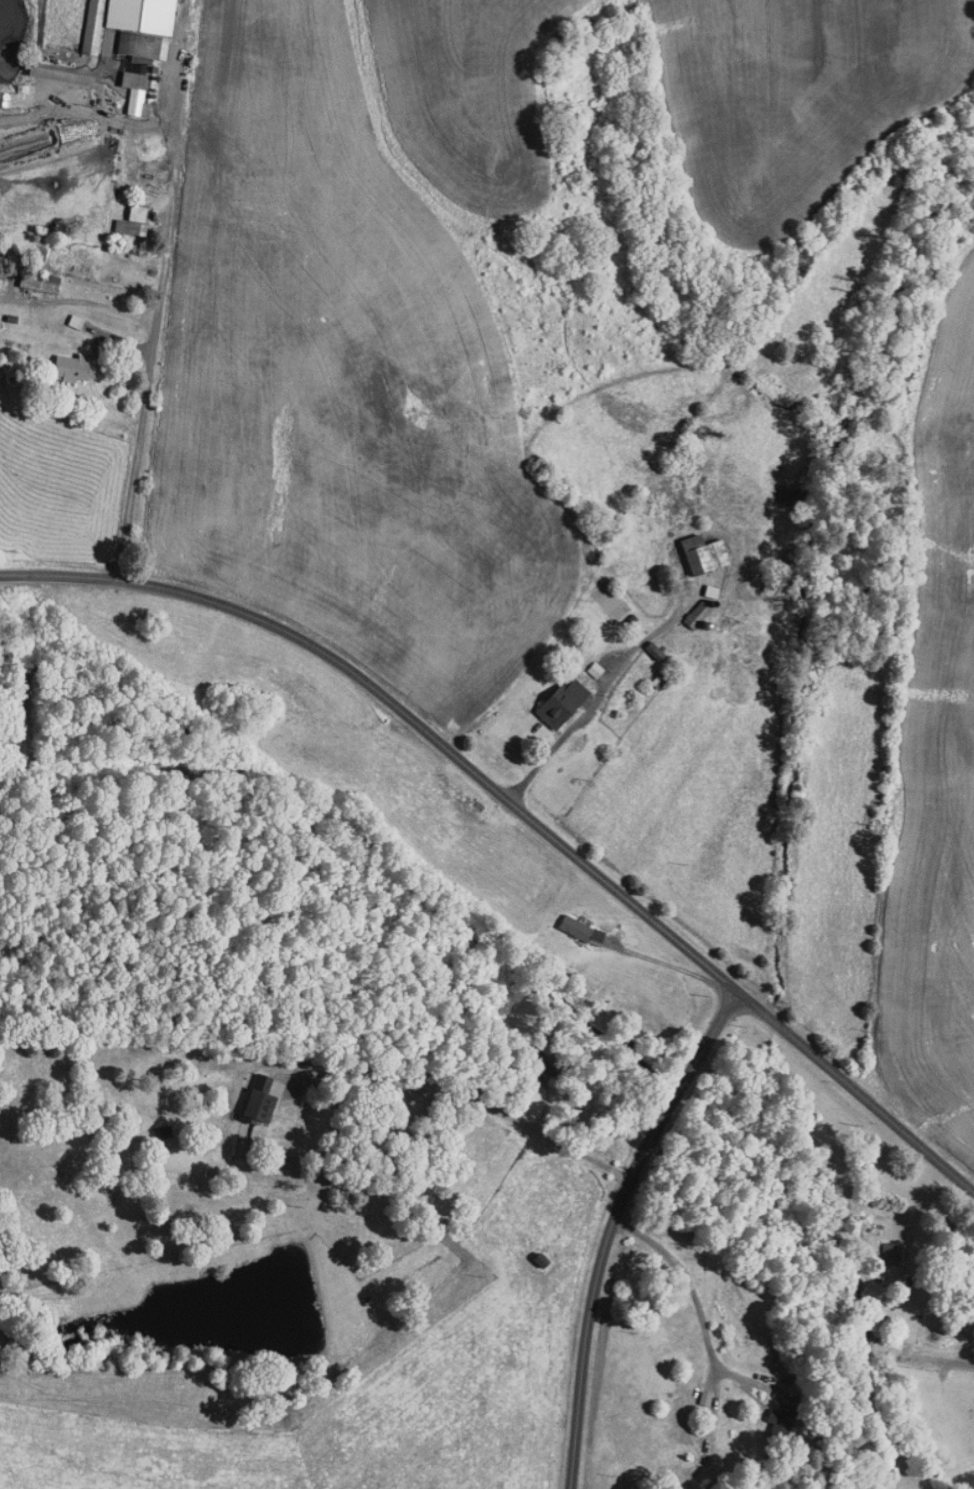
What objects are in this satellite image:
building: (93, 26)
building: (140, 41)
building: (61, 74)
building: (133, 220)
building: (41, 283)
building: (75, 321)
road: (155, 330)
building: (75, 367)
building: (704, 553)
building: (698, 613)
building: (595, 668)
building: (562, 702)
road: (591, 712)
road: (520, 807)
building: (582, 930)
building: (260, 1100)
road: (478, 1104)
road: (618, 1226)
building: (890, 1253)
road: (699, 1308)
road: (918, 1359)
building: (782, 1423)

